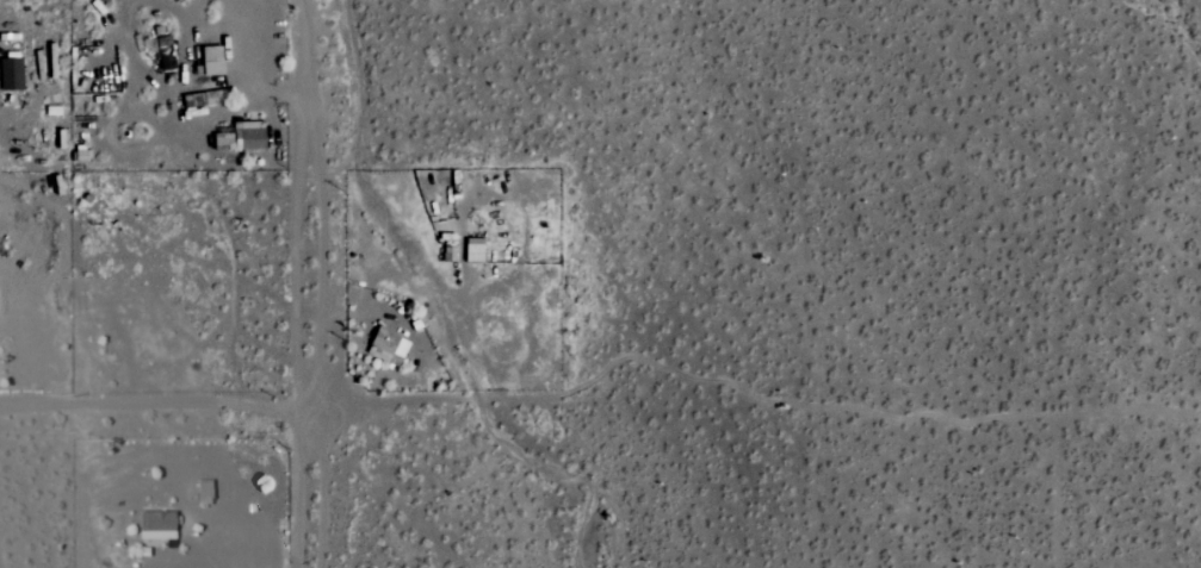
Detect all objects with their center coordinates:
building: (10, 74)
building: (237, 138)
road: (305, 283)
building: (388, 342)
road: (231, 404)
building: (156, 525)

